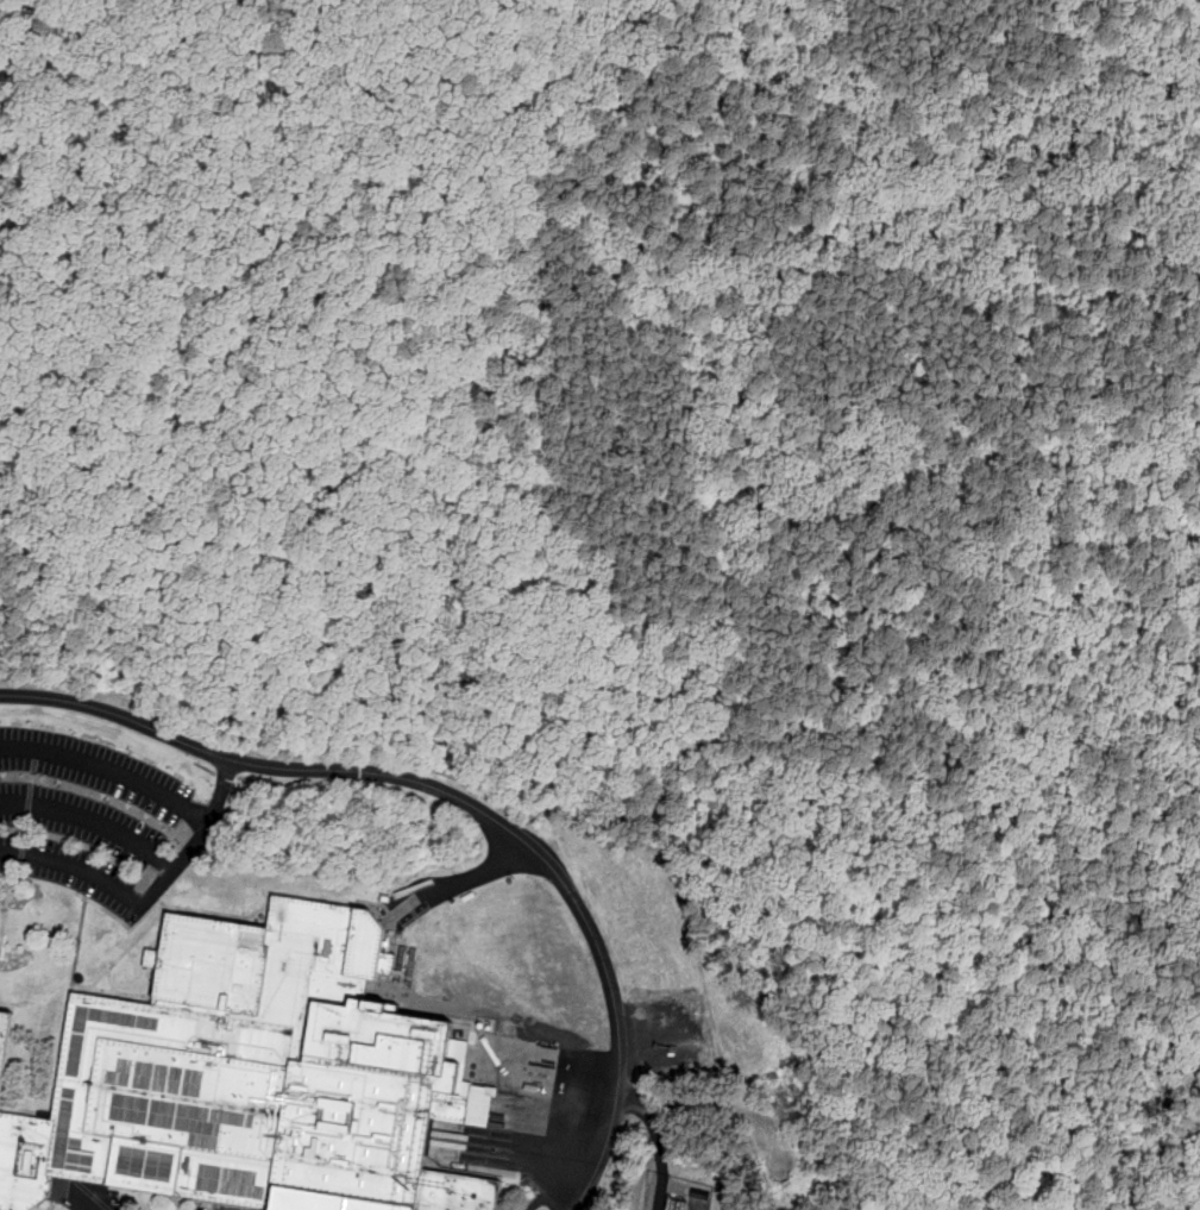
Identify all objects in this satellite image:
road: (109, 766)
road: (463, 800)
road: (95, 817)
parking lot: (145, 846)
road: (471, 876)
road: (150, 896)
building: (2, 1030)
building: (239, 1080)
road: (80, 1198)
building: (673, 1205)

